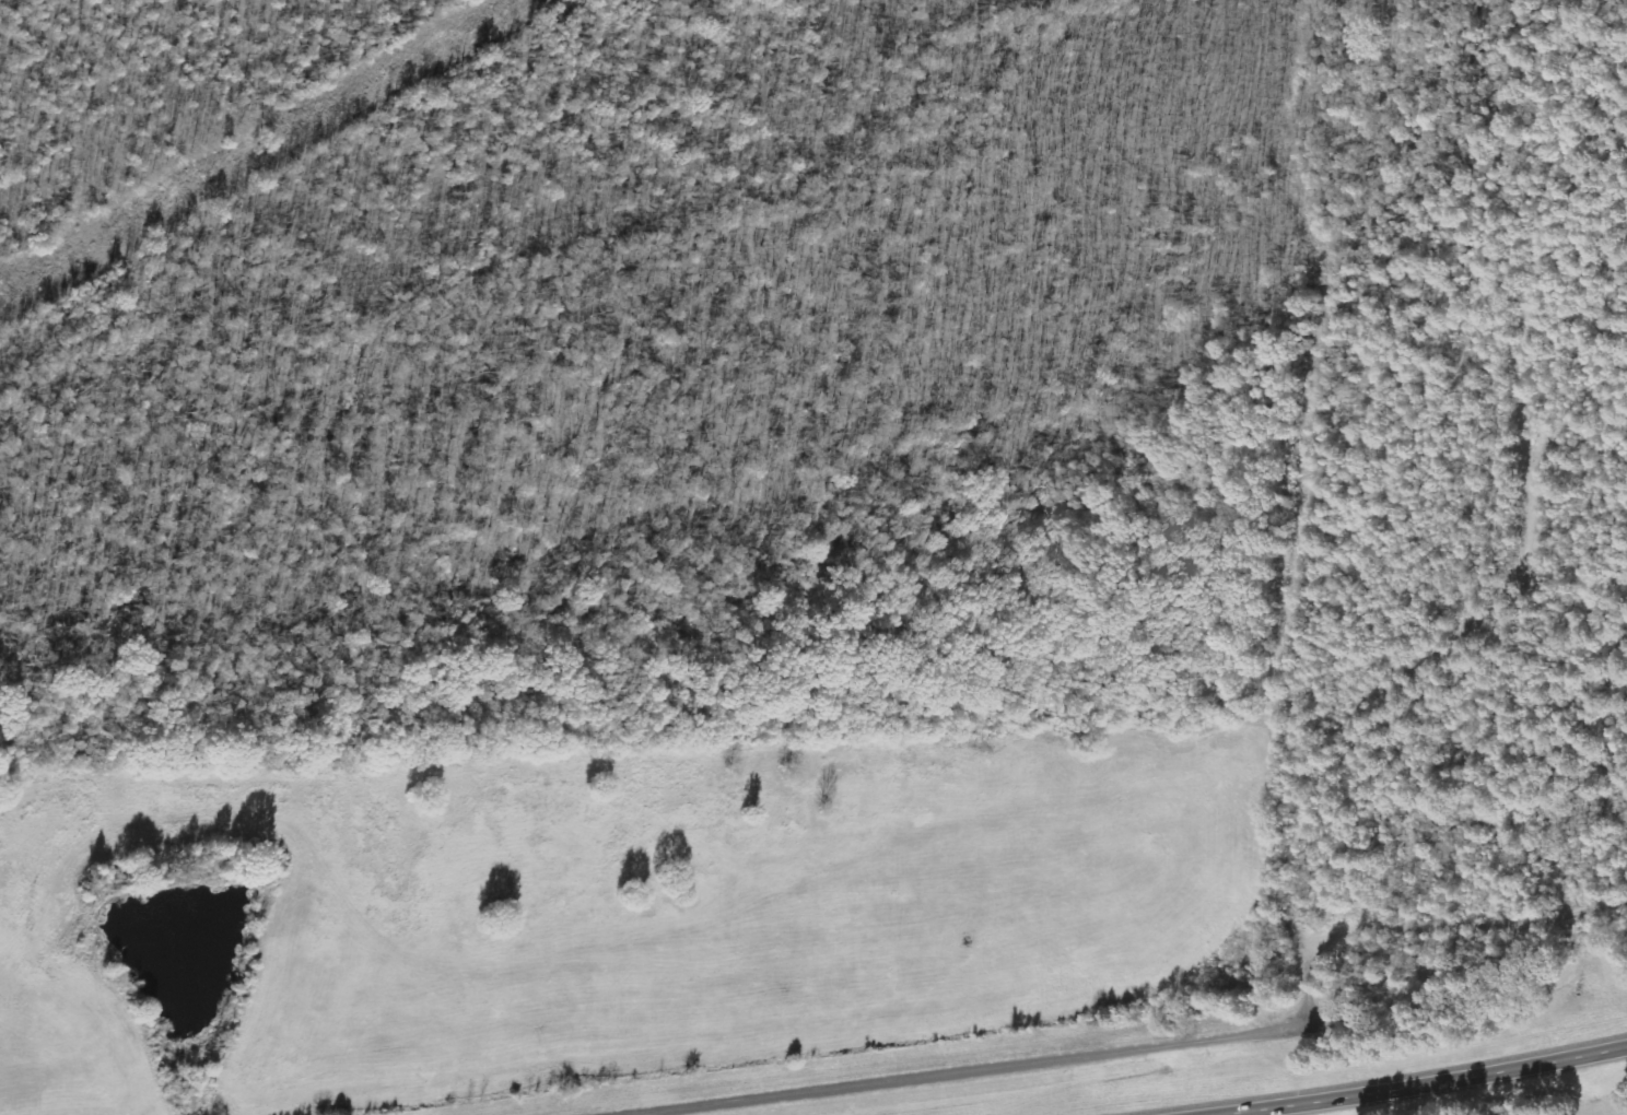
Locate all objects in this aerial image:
road: (956, 1072)
road: (1402, 1080)

